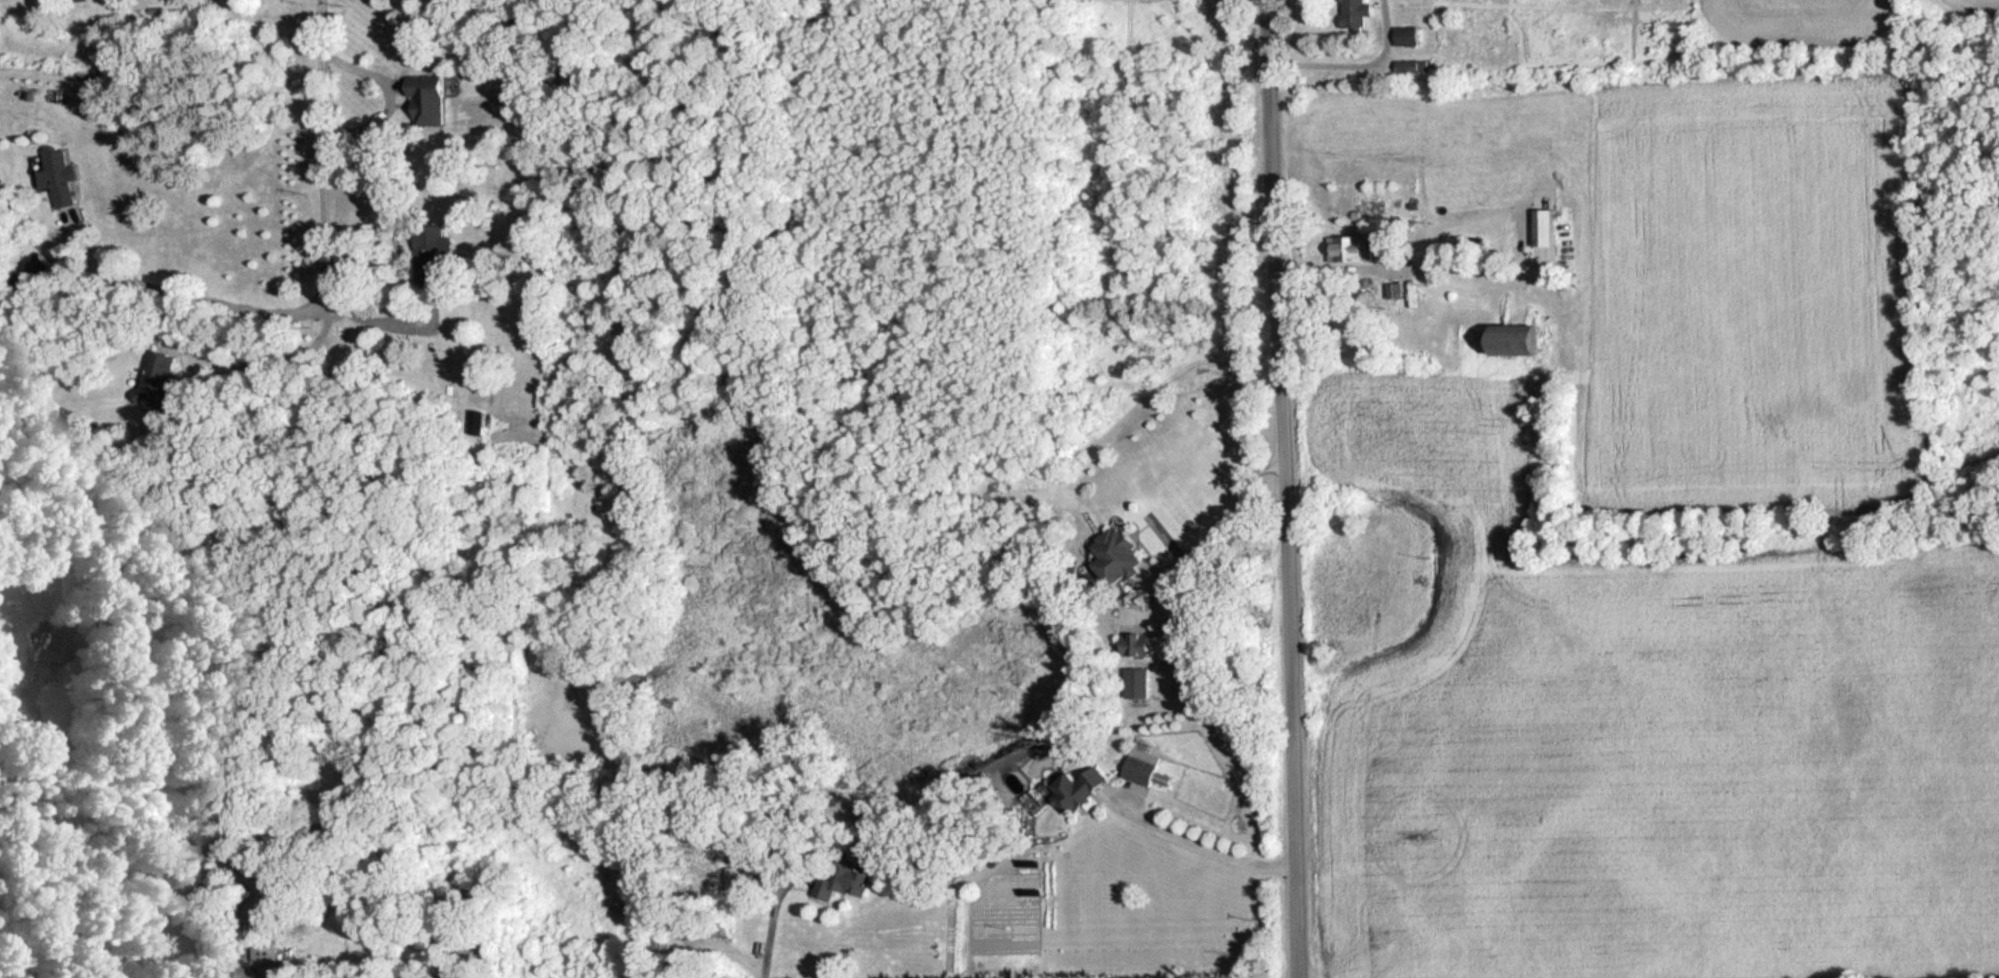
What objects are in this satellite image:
building: (1357, 14)
building: (1409, 37)
building: (1415, 68)
building: (429, 104)
road: (323, 145)
building: (58, 175)
building: (1547, 227)
building: (1351, 249)
building: (433, 254)
building: (1523, 339)
building: (156, 378)
building: (475, 419)
road: (1282, 489)
road: (1241, 506)
building: (1119, 555)
building: (1137, 645)
building: (51, 646)
building: (1144, 771)
building: (1081, 790)
building: (845, 880)
building: (264, 965)

